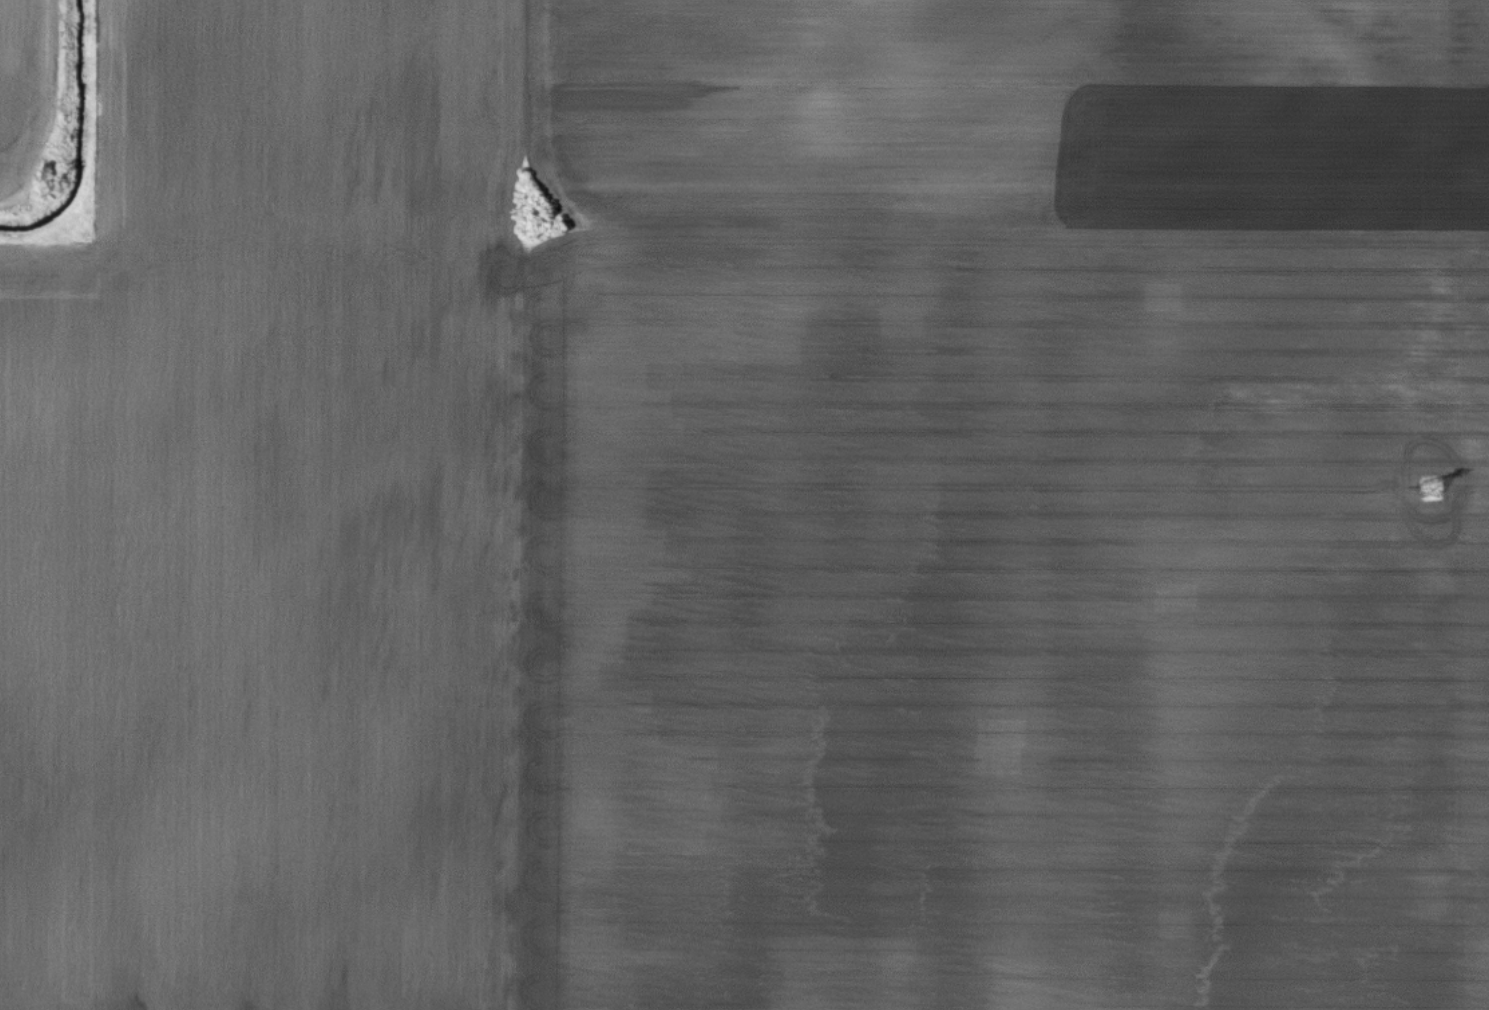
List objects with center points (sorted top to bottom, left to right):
power tower: (1438, 494)

